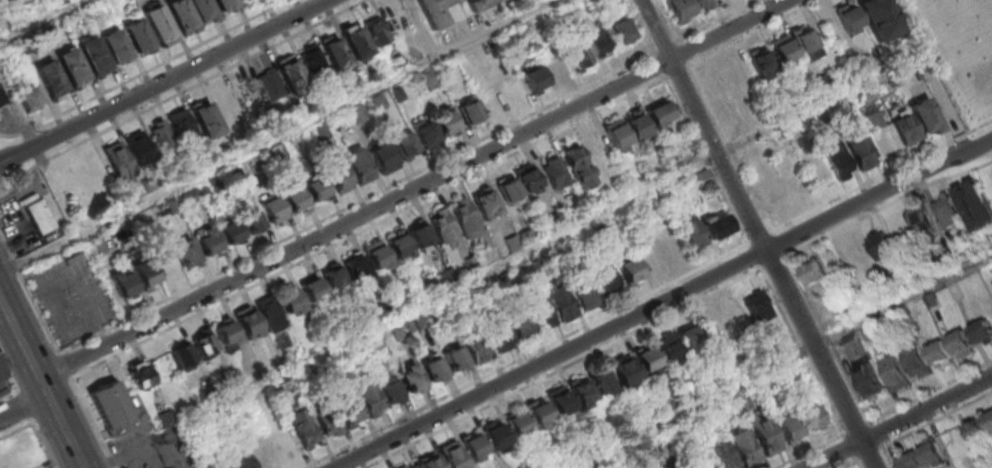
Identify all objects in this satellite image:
building: (1, 0)
building: (224, 3)
building: (478, 4)
building: (700, 5)
road: (911, 6)
building: (201, 8)
building: (678, 10)
building: (433, 12)
building: (180, 13)
building: (849, 17)
building: (880, 18)
road: (41, 20)
road: (715, 20)
building: (158, 22)
road: (420, 28)
road: (492, 28)
building: (620, 29)
building: (376, 30)
road: (750, 33)
building: (137, 34)
building: (595, 39)
building: (355, 40)
building: (806, 43)
building: (115, 45)
road: (665, 46)
building: (782, 50)
building: (333, 51)
building: (93, 54)
building: (577, 55)
building: (312, 58)
building: (761, 63)
building: (72, 65)
building: (556, 65)
road: (936, 65)
road: (676, 70)
road: (146, 71)
building: (291, 73)
building: (50, 78)
building: (534, 78)
building: (429, 79)
road: (163, 81)
building: (719, 84)
building: (270, 86)
road: (178, 93)
building: (2, 99)
building: (28, 99)
building: (378, 101)
building: (469, 111)
building: (657, 112)
building: (355, 113)
building: (206, 118)
building: (444, 122)
building: (916, 122)
building: (636, 124)
building: (182, 127)
building: (426, 133)
building: (617, 135)
building: (161, 137)
building: (404, 142)
building: (139, 147)
building: (860, 150)
road: (40, 153)
building: (381, 154)
building: (117, 159)
building: (838, 161)
road: (217, 165)
building: (577, 165)
building: (361, 170)
building: (554, 171)
road: (881, 176)
building: (339, 177)
building: (527, 179)
building: (315, 187)
road: (416, 188)
building: (508, 189)
building: (294, 197)
building: (483, 201)
building: (975, 204)
building: (172, 206)
building: (272, 208)
building: (947, 210)
road: (333, 213)
building: (39, 217)
building: (466, 219)
building: (251, 221)
building: (922, 221)
building: (443, 226)
building: (717, 226)
road: (369, 227)
building: (229, 231)
building: (419, 234)
road: (759, 234)
road: (761, 236)
building: (694, 239)
building: (207, 241)
building: (512, 242)
building: (880, 244)
building: (97, 245)
building: (398, 245)
road: (804, 247)
building: (186, 253)
building: (377, 256)
building: (354, 267)
building: (628, 268)
building: (815, 272)
building: (145, 273)
building: (446, 276)
building: (333, 278)
building: (603, 278)
road: (470, 281)
building: (123, 284)
building: (312, 288)
road: (28, 293)
building: (585, 295)
building: (289, 299)
building: (560, 299)
road: (662, 302)
building: (758, 307)
building: (268, 311)
building: (540, 311)
building: (247, 321)
building: (518, 324)
building: (982, 331)
building: (226, 332)
building: (497, 336)
building: (690, 336)
road: (19, 338)
building: (859, 341)
building: (961, 343)
building: (205, 344)
building: (476, 347)
building: (783, 347)
building: (671, 350)
road: (801, 351)
building: (940, 353)
building: (182, 356)
road: (528, 356)
building: (454, 357)
building: (649, 360)
road: (782, 361)
building: (916, 362)
road: (63, 365)
building: (432, 368)
road: (563, 369)
building: (2, 371)
building: (625, 371)
road: (9, 373)
building: (894, 373)
building: (138, 375)
building: (786, 377)
building: (411, 378)
building: (601, 381)
building: (868, 381)
building: (709, 383)
road: (43, 387)
building: (767, 389)
building: (389, 390)
road: (928, 390)
building: (582, 392)
building: (686, 394)
building: (370, 398)
building: (561, 401)
road: (24, 404)
building: (741, 404)
road: (23, 406)
road: (927, 406)
building: (110, 408)
building: (720, 411)
building: (349, 412)
building: (539, 413)
building: (812, 416)
road: (936, 420)
building: (328, 422)
road: (93, 423)
building: (517, 423)
building: (303, 426)
road: (855, 427)
building: (789, 428)
building: (980, 428)
road: (65, 432)
road: (874, 433)
building: (495, 435)
building: (767, 436)
road: (42, 442)
building: (473, 446)
building: (746, 447)
building: (579, 449)
road: (810, 449)
road: (834, 453)
building: (452, 455)
building: (723, 455)
road: (885, 456)
building: (923, 457)
building: (239, 460)
building: (698, 460)
building: (429, 461)
road: (848, 464)
road: (858, 464)
building: (220, 465)
building: (408, 465)
building: (681, 466)
building: (593, 467)

